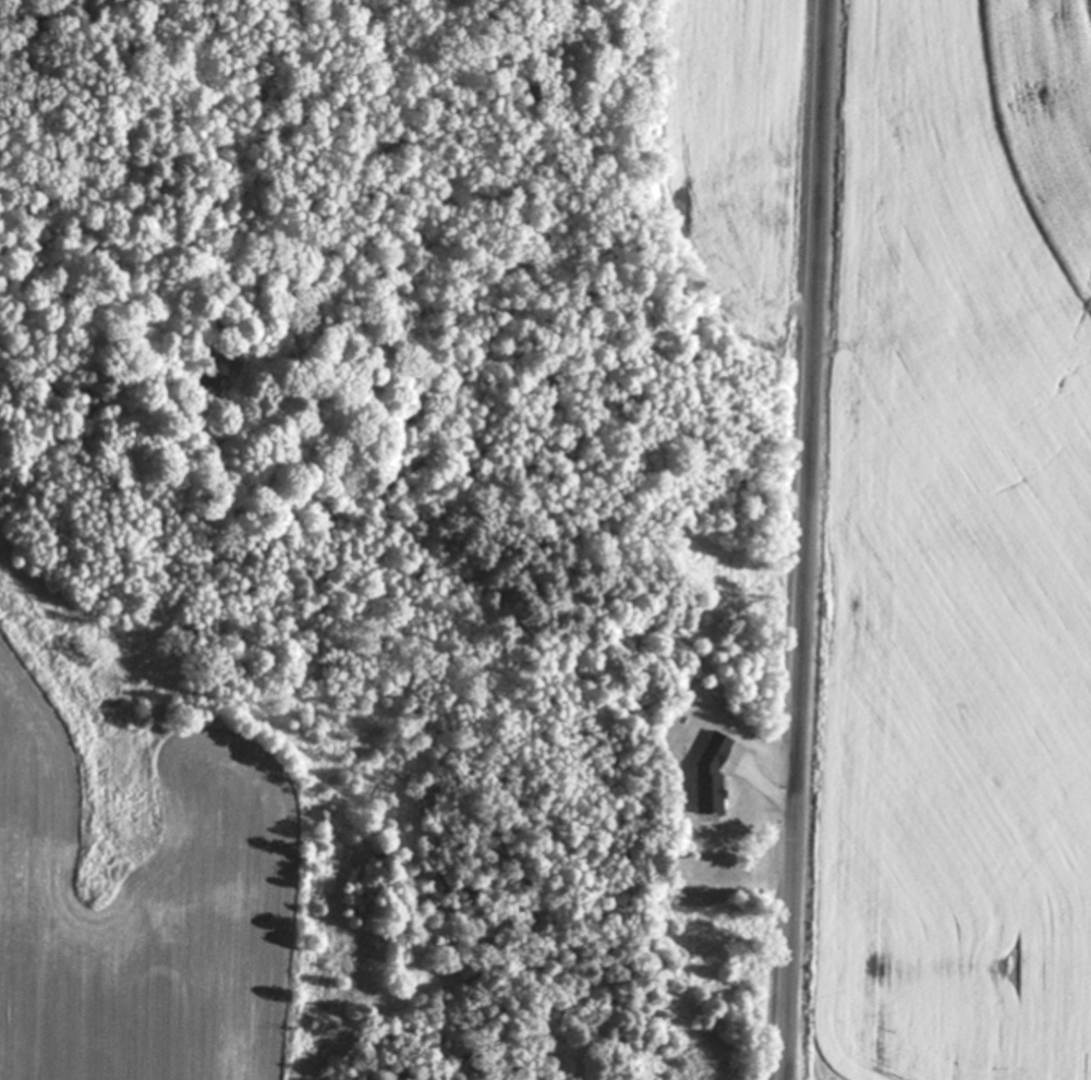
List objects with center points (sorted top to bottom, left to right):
road: (809, 539)
building: (716, 776)

